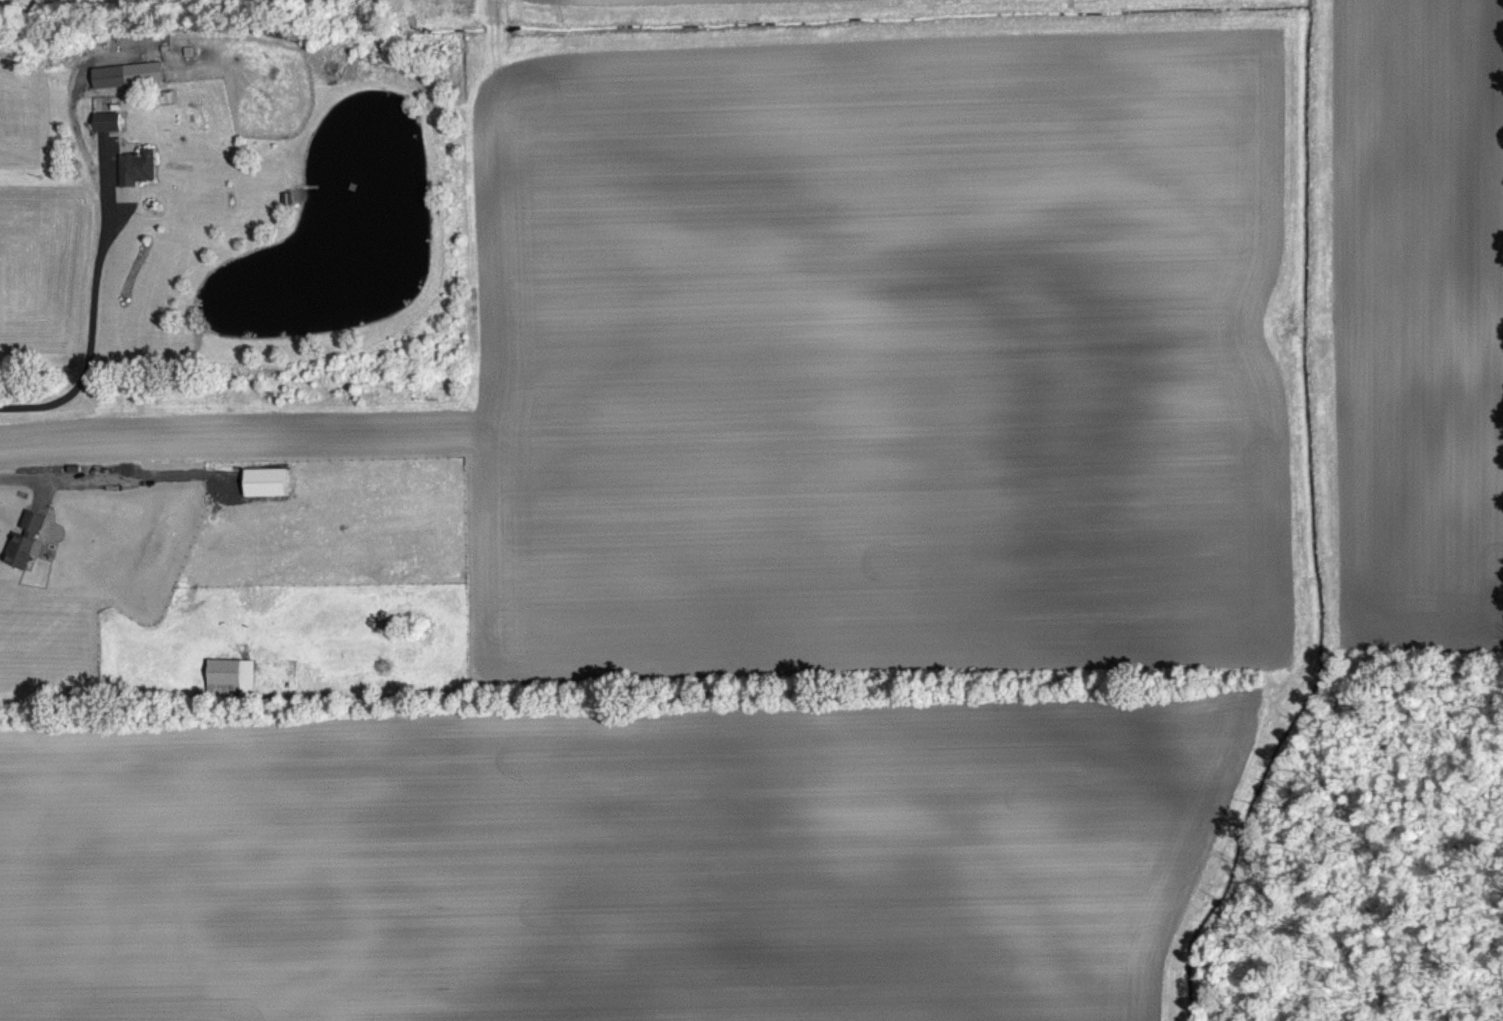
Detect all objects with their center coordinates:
building: (128, 73)
building: (128, 86)
building: (108, 120)
building: (108, 133)
building: (137, 165)
road: (91, 307)
road: (112, 473)
building: (265, 480)
building: (25, 538)
building: (19, 561)
building: (233, 672)

